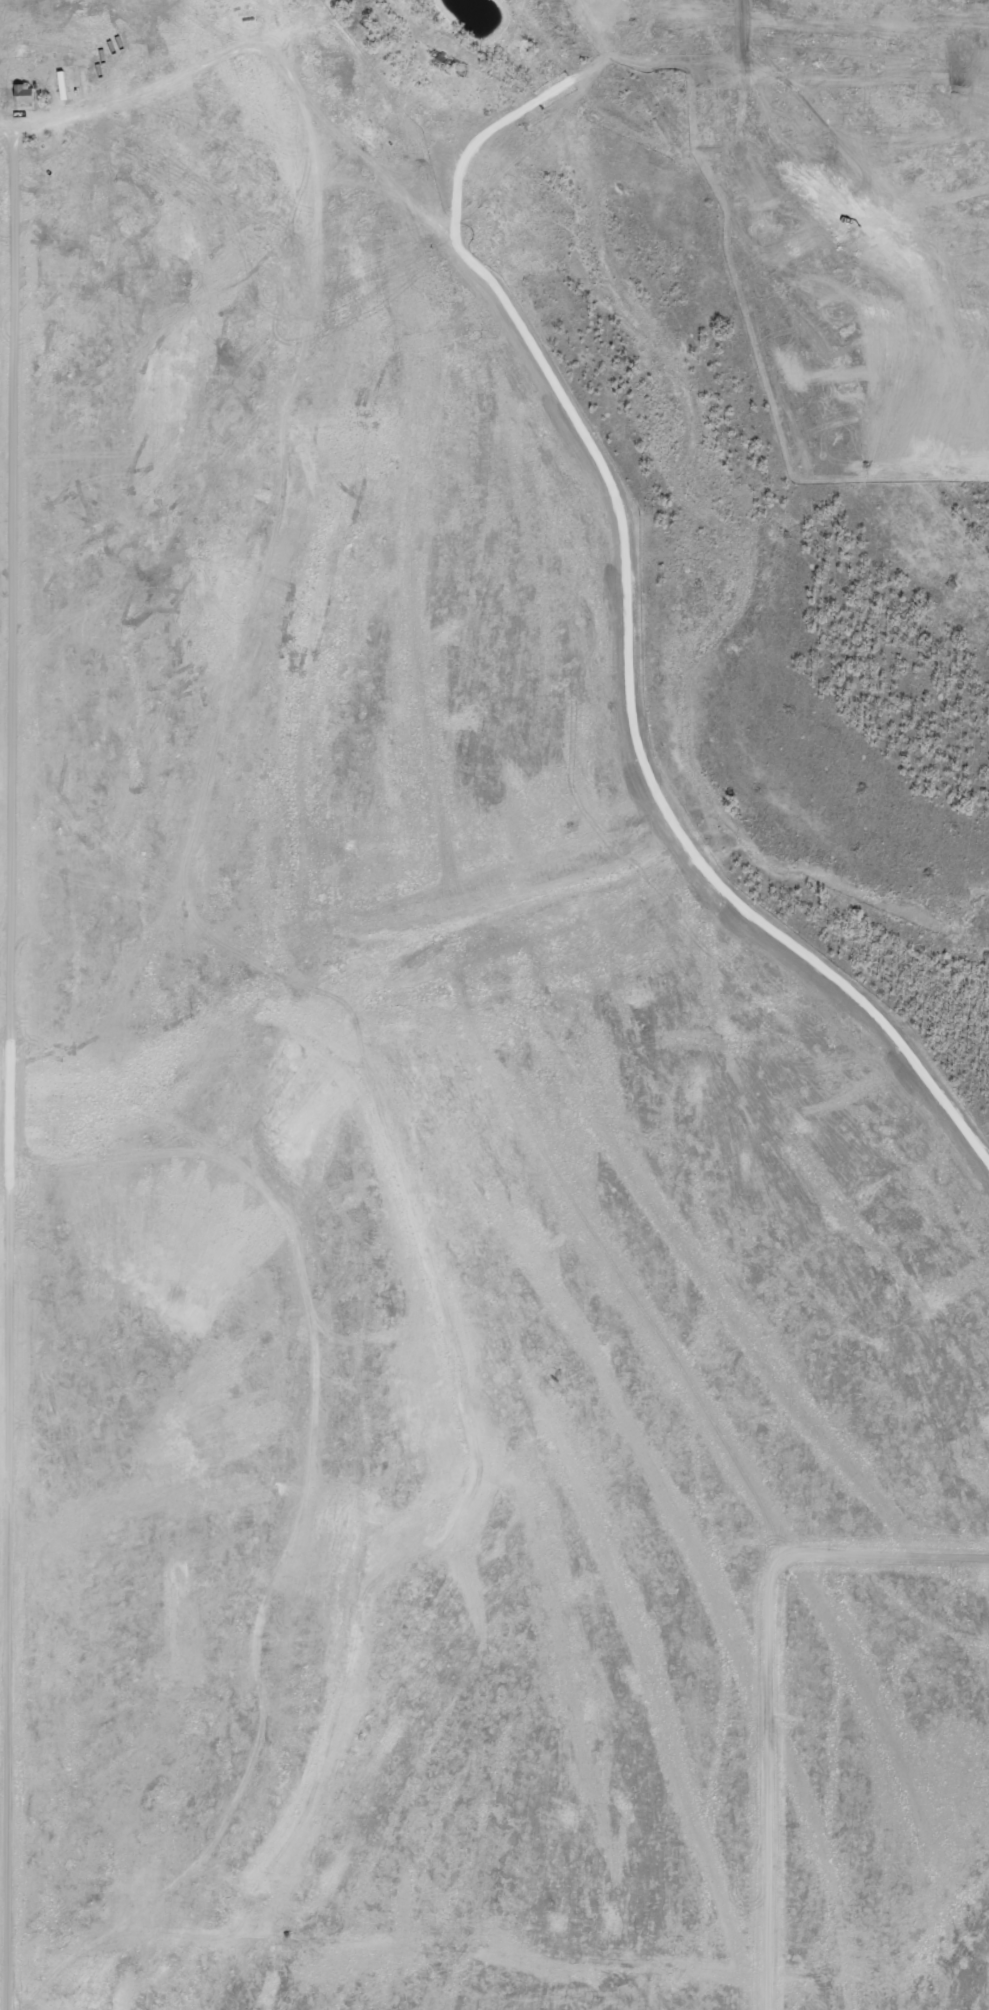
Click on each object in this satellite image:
building: (20, 96)
road: (92, 110)

